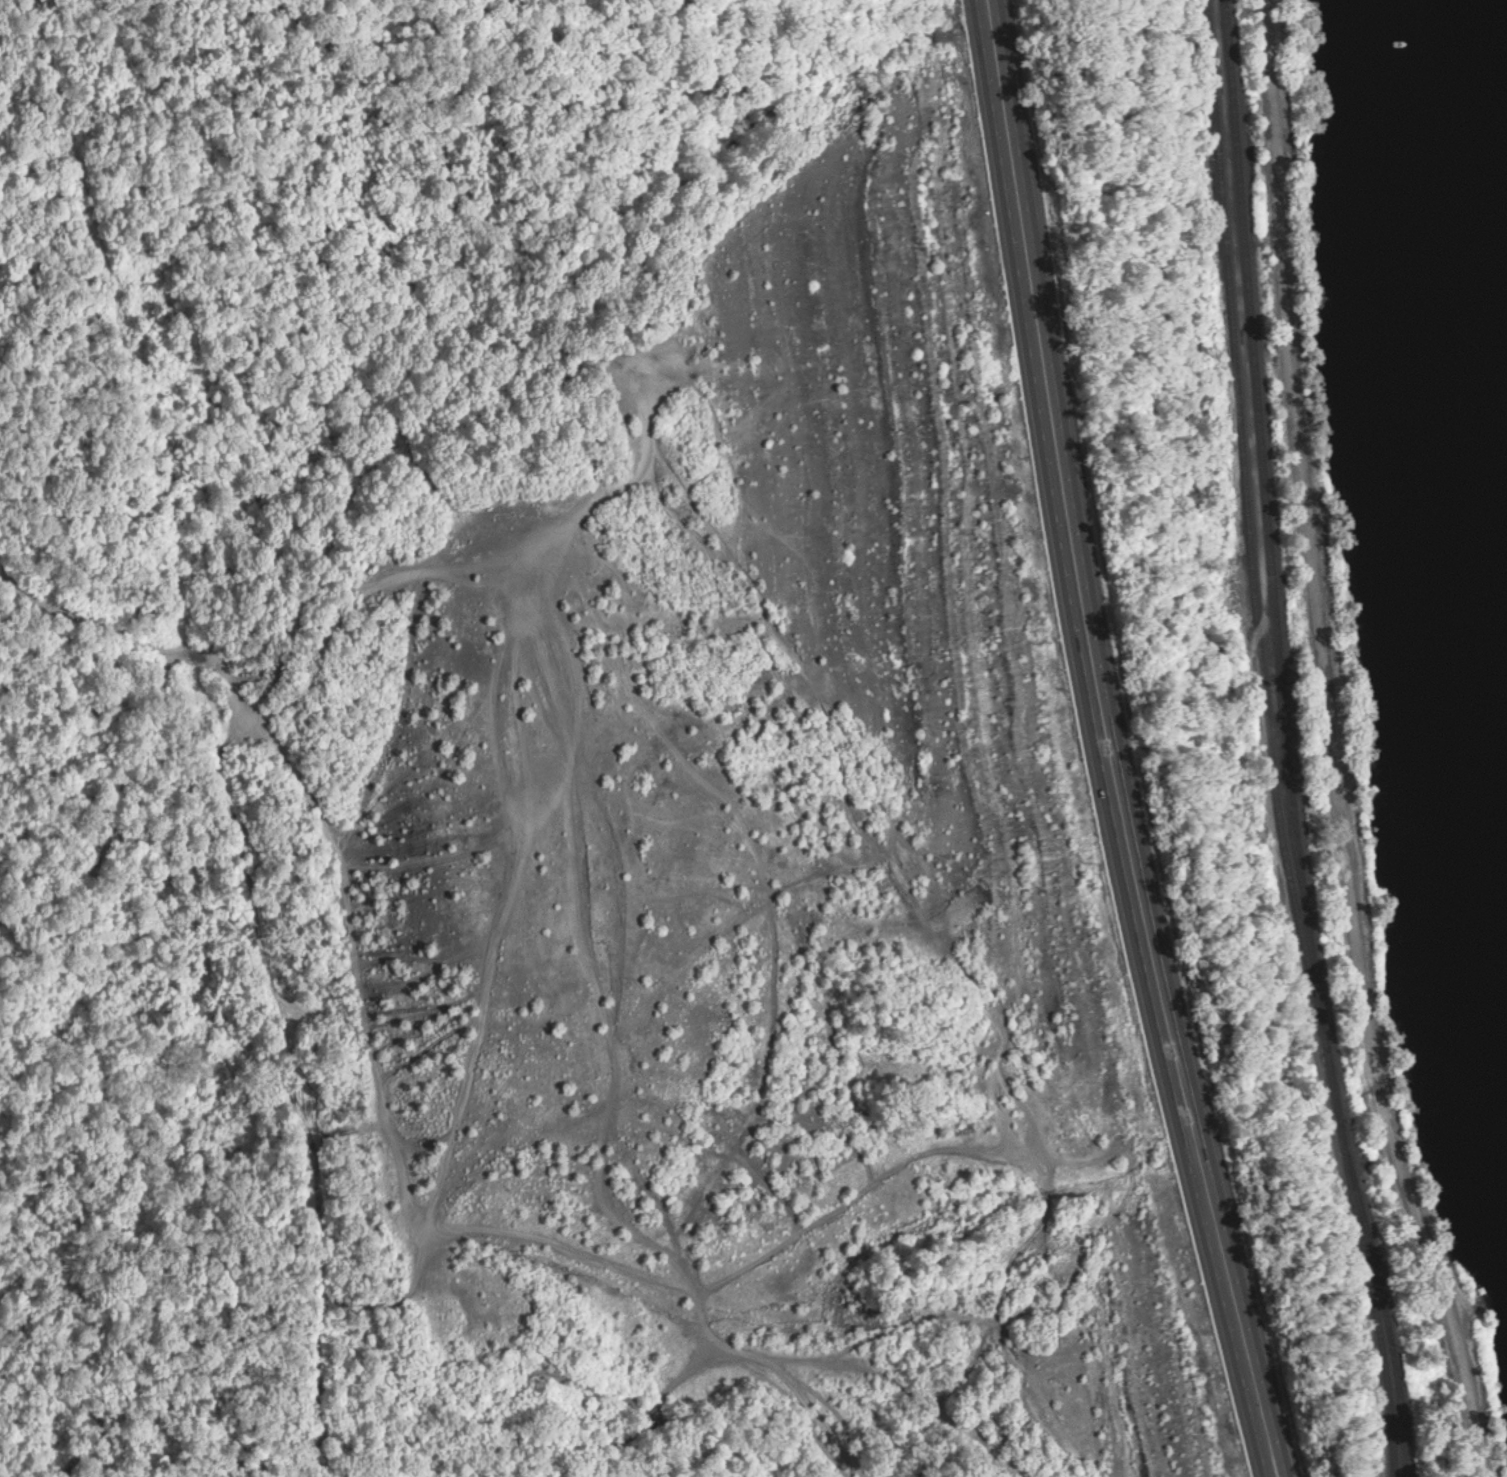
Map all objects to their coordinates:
railway: (1248, 527)
railway: (1272, 566)
road: (1123, 742)
road: (1096, 743)
road: (1316, 746)
building: (755, 858)
building: (554, 1126)
railway: (1383, 1302)
railway: (1374, 1303)

